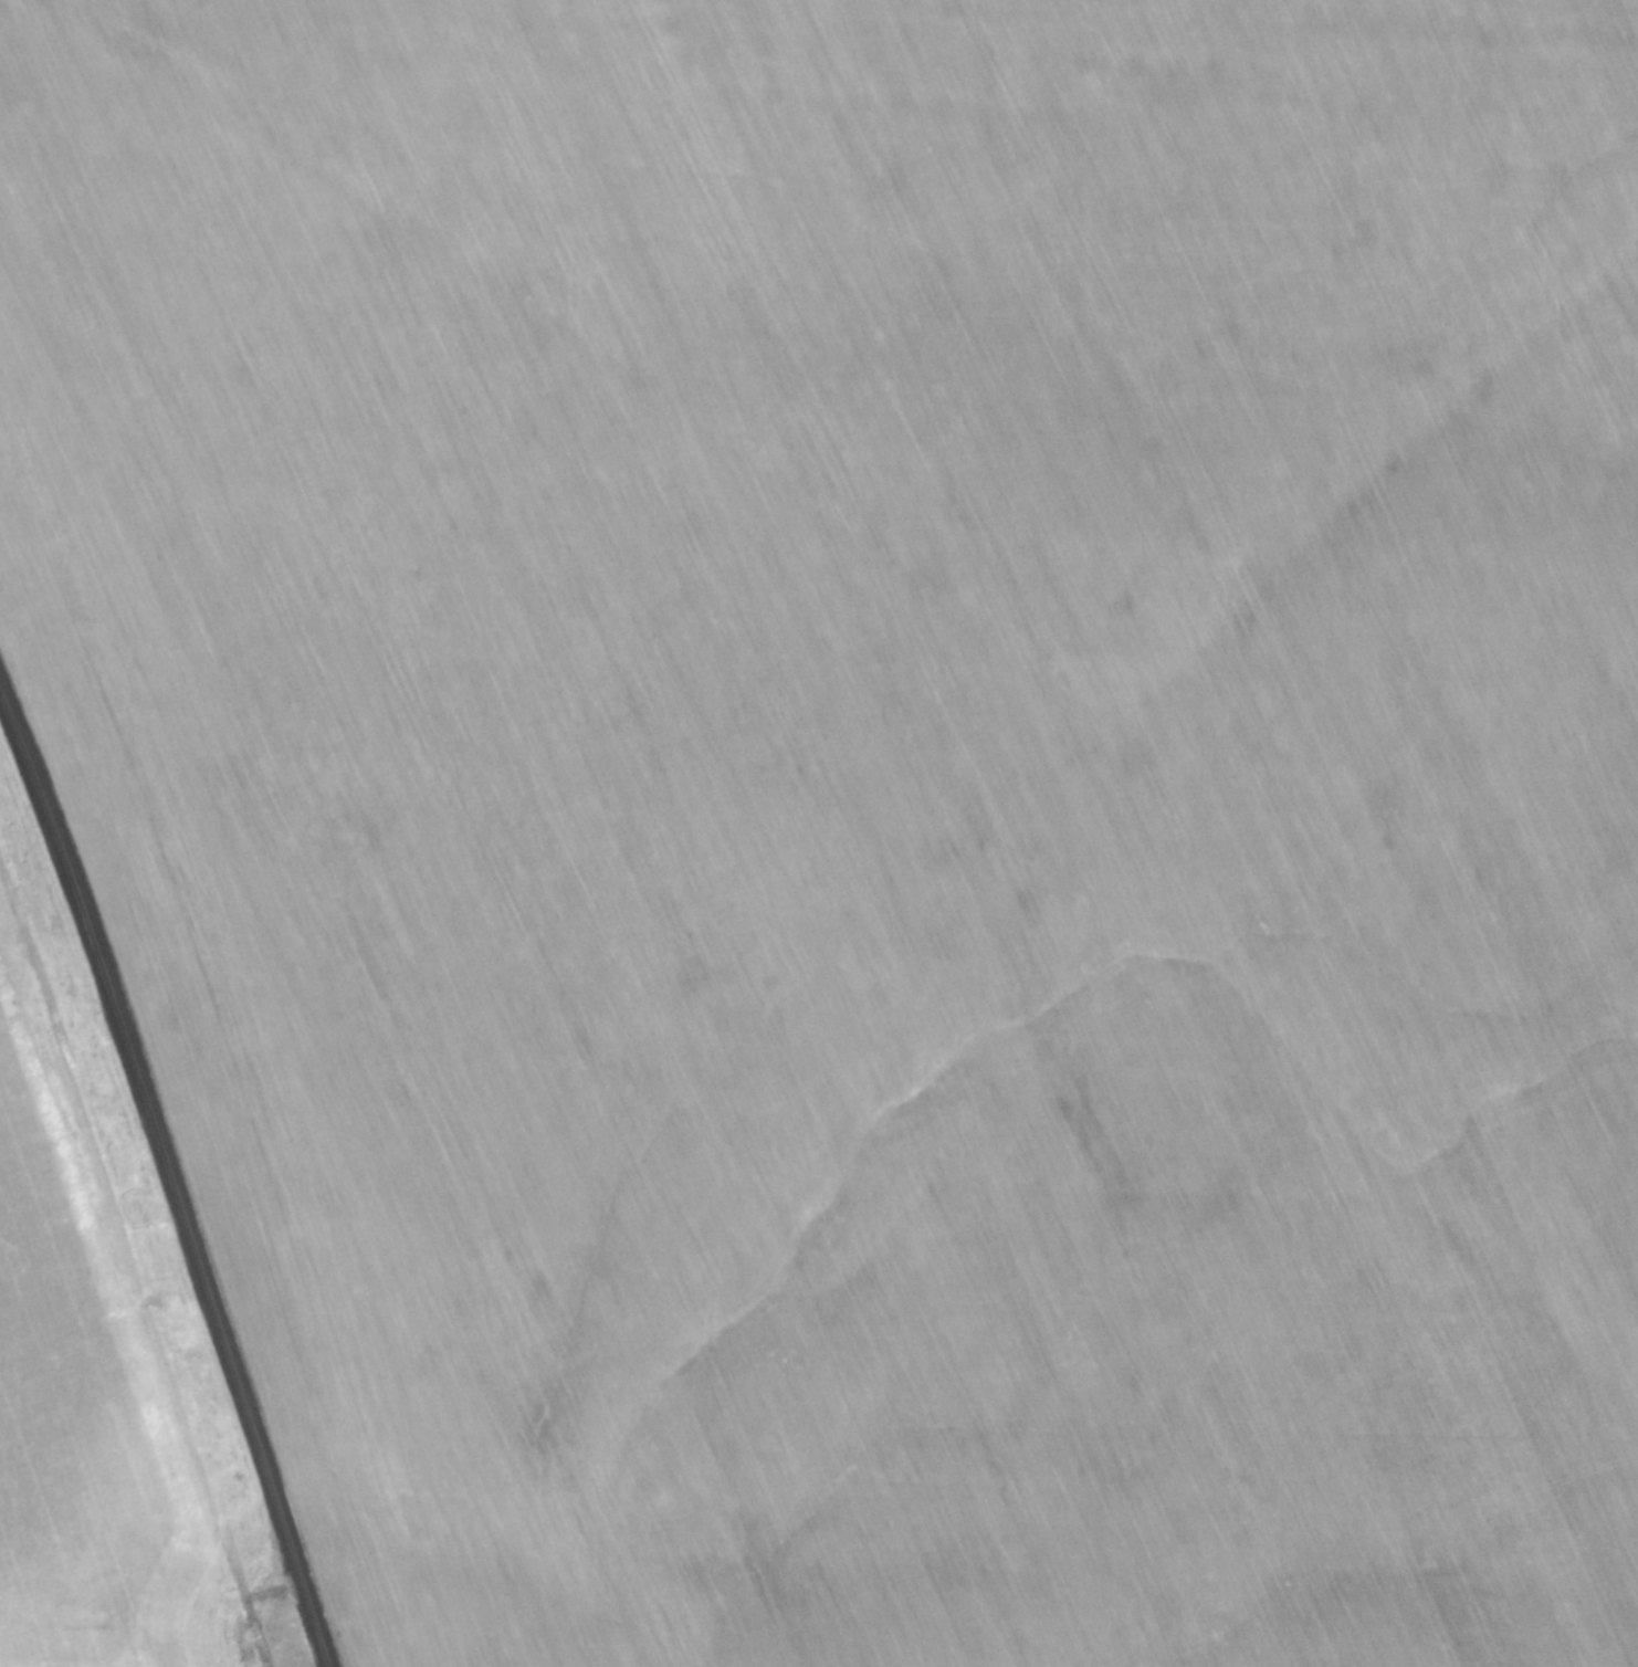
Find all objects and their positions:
road: (170, 1183)

